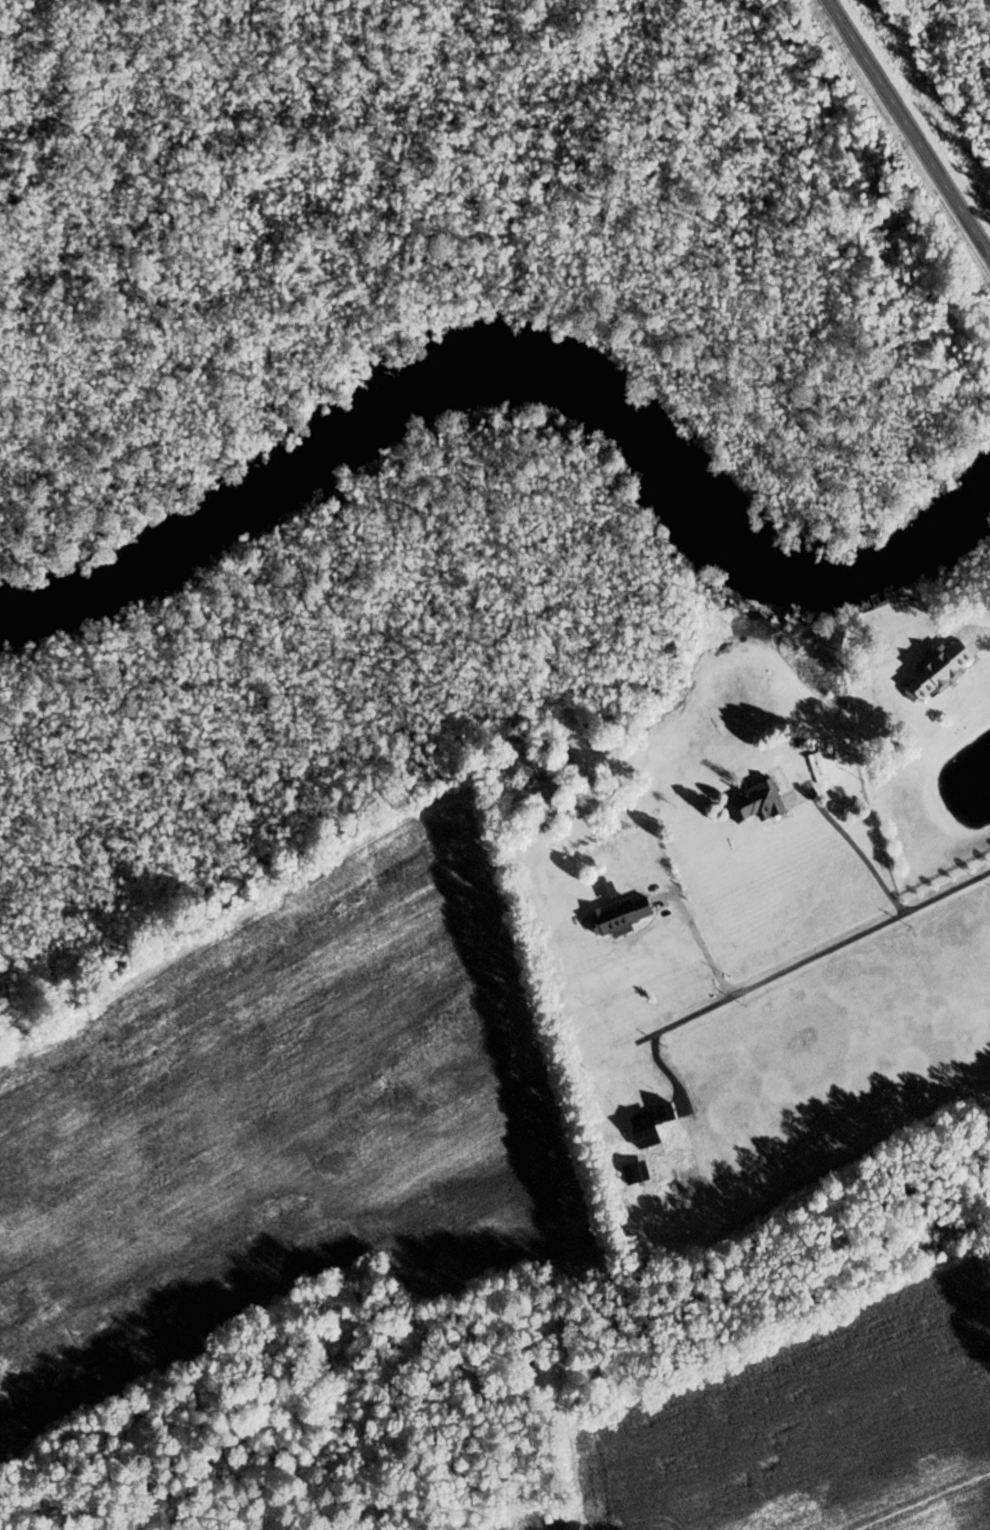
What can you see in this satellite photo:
road: (906, 130)
building: (937, 670)
building: (756, 803)
road: (857, 848)
building: (619, 912)
road: (699, 942)
road: (812, 955)

